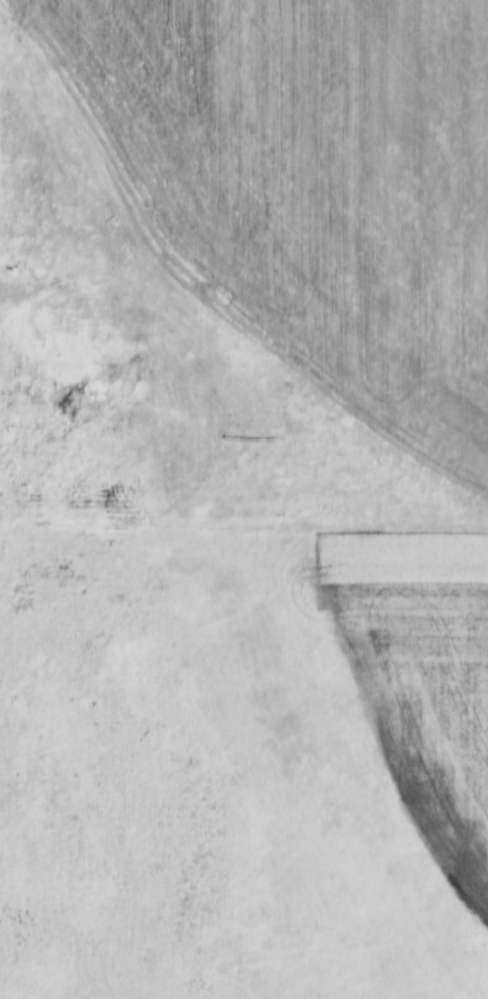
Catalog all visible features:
building: (170, 834)

